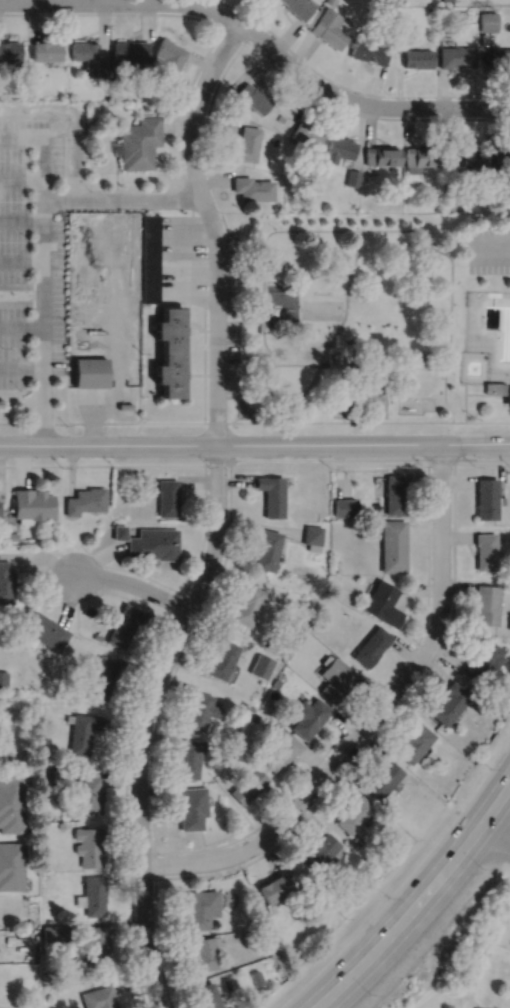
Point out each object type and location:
building: (330, 2)
building: (299, 7)
building: (468, 14)
road: (210, 21)
building: (488, 21)
building: (331, 28)
road: (261, 36)
building: (370, 50)
building: (10, 51)
building: (46, 51)
building: (85, 52)
building: (130, 52)
building: (457, 57)
building: (501, 57)
building: (418, 58)
building: (168, 60)
building: (113, 67)
building: (102, 69)
road: (350, 87)
building: (254, 98)
road: (353, 111)
building: (280, 117)
road: (205, 130)
building: (307, 135)
building: (273, 141)
building: (138, 143)
building: (246, 144)
building: (340, 149)
building: (498, 156)
road: (42, 157)
building: (382, 157)
building: (469, 158)
building: (422, 159)
road: (21, 178)
building: (353, 178)
building: (364, 178)
building: (453, 187)
building: (252, 189)
road: (46, 199)
road: (126, 199)
building: (275, 207)
building: (439, 207)
building: (362, 209)
road: (21, 219)
road: (212, 225)
road: (318, 229)
road: (456, 240)
road: (491, 244)
parking lot: (489, 247)
parking lot: (30, 248)
building: (150, 256)
road: (21, 260)
road: (21, 284)
road: (43, 294)
road: (178, 299)
road: (21, 302)
road: (450, 305)
parking lot: (231, 311)
road: (159, 316)
road: (257, 316)
park: (372, 323)
building: (171, 327)
road: (153, 328)
road: (197, 328)
road: (188, 336)
road: (157, 341)
road: (43, 350)
road: (264, 352)
building: (257, 358)
building: (334, 358)
building: (417, 359)
road: (157, 361)
road: (204, 362)
road: (352, 362)
road: (21, 365)
building: (90, 370)
road: (154, 372)
building: (171, 372)
road: (195, 373)
building: (498, 389)
road: (484, 393)
road: (464, 400)
road: (42, 408)
road: (238, 412)
road: (343, 414)
road: (481, 420)
road: (113, 421)
road: (240, 421)
road: (254, 442)
building: (271, 493)
building: (395, 493)
building: (167, 497)
building: (486, 497)
building: (85, 500)
building: (31, 504)
building: (345, 506)
building: (0, 513)
building: (119, 531)
building: (12, 535)
building: (313, 536)
building: (153, 543)
building: (393, 545)
building: (266, 548)
building: (485, 550)
building: (326, 581)
building: (6, 582)
road: (134, 584)
building: (247, 603)
building: (301, 603)
building: (383, 603)
building: (486, 603)
building: (124, 624)
building: (39, 630)
building: (97, 636)
building: (298, 637)
building: (372, 646)
building: (221, 659)
building: (483, 662)
building: (261, 666)
building: (102, 677)
building: (336, 678)
building: (3, 679)
building: (276, 683)
building: (450, 703)
building: (200, 710)
building: (244, 712)
road: (374, 713)
building: (256, 717)
building: (309, 717)
road: (144, 719)
building: (81, 732)
building: (413, 742)
building: (225, 746)
building: (279, 750)
building: (189, 758)
building: (50, 776)
building: (383, 780)
building: (248, 786)
building: (88, 792)
road: (497, 801)
building: (10, 803)
building: (191, 808)
building: (353, 815)
road: (497, 825)
road: (496, 836)
building: (356, 840)
building: (89, 846)
building: (321, 848)
building: (10, 867)
building: (275, 886)
building: (306, 889)
building: (93, 894)
building: (201, 905)
building: (255, 916)
road: (405, 918)
building: (27, 923)
building: (54, 931)
building: (261, 936)
building: (9, 937)
building: (95, 943)
building: (202, 953)
building: (50, 974)
building: (256, 976)
building: (227, 982)
building: (208, 995)
building: (100, 997)

